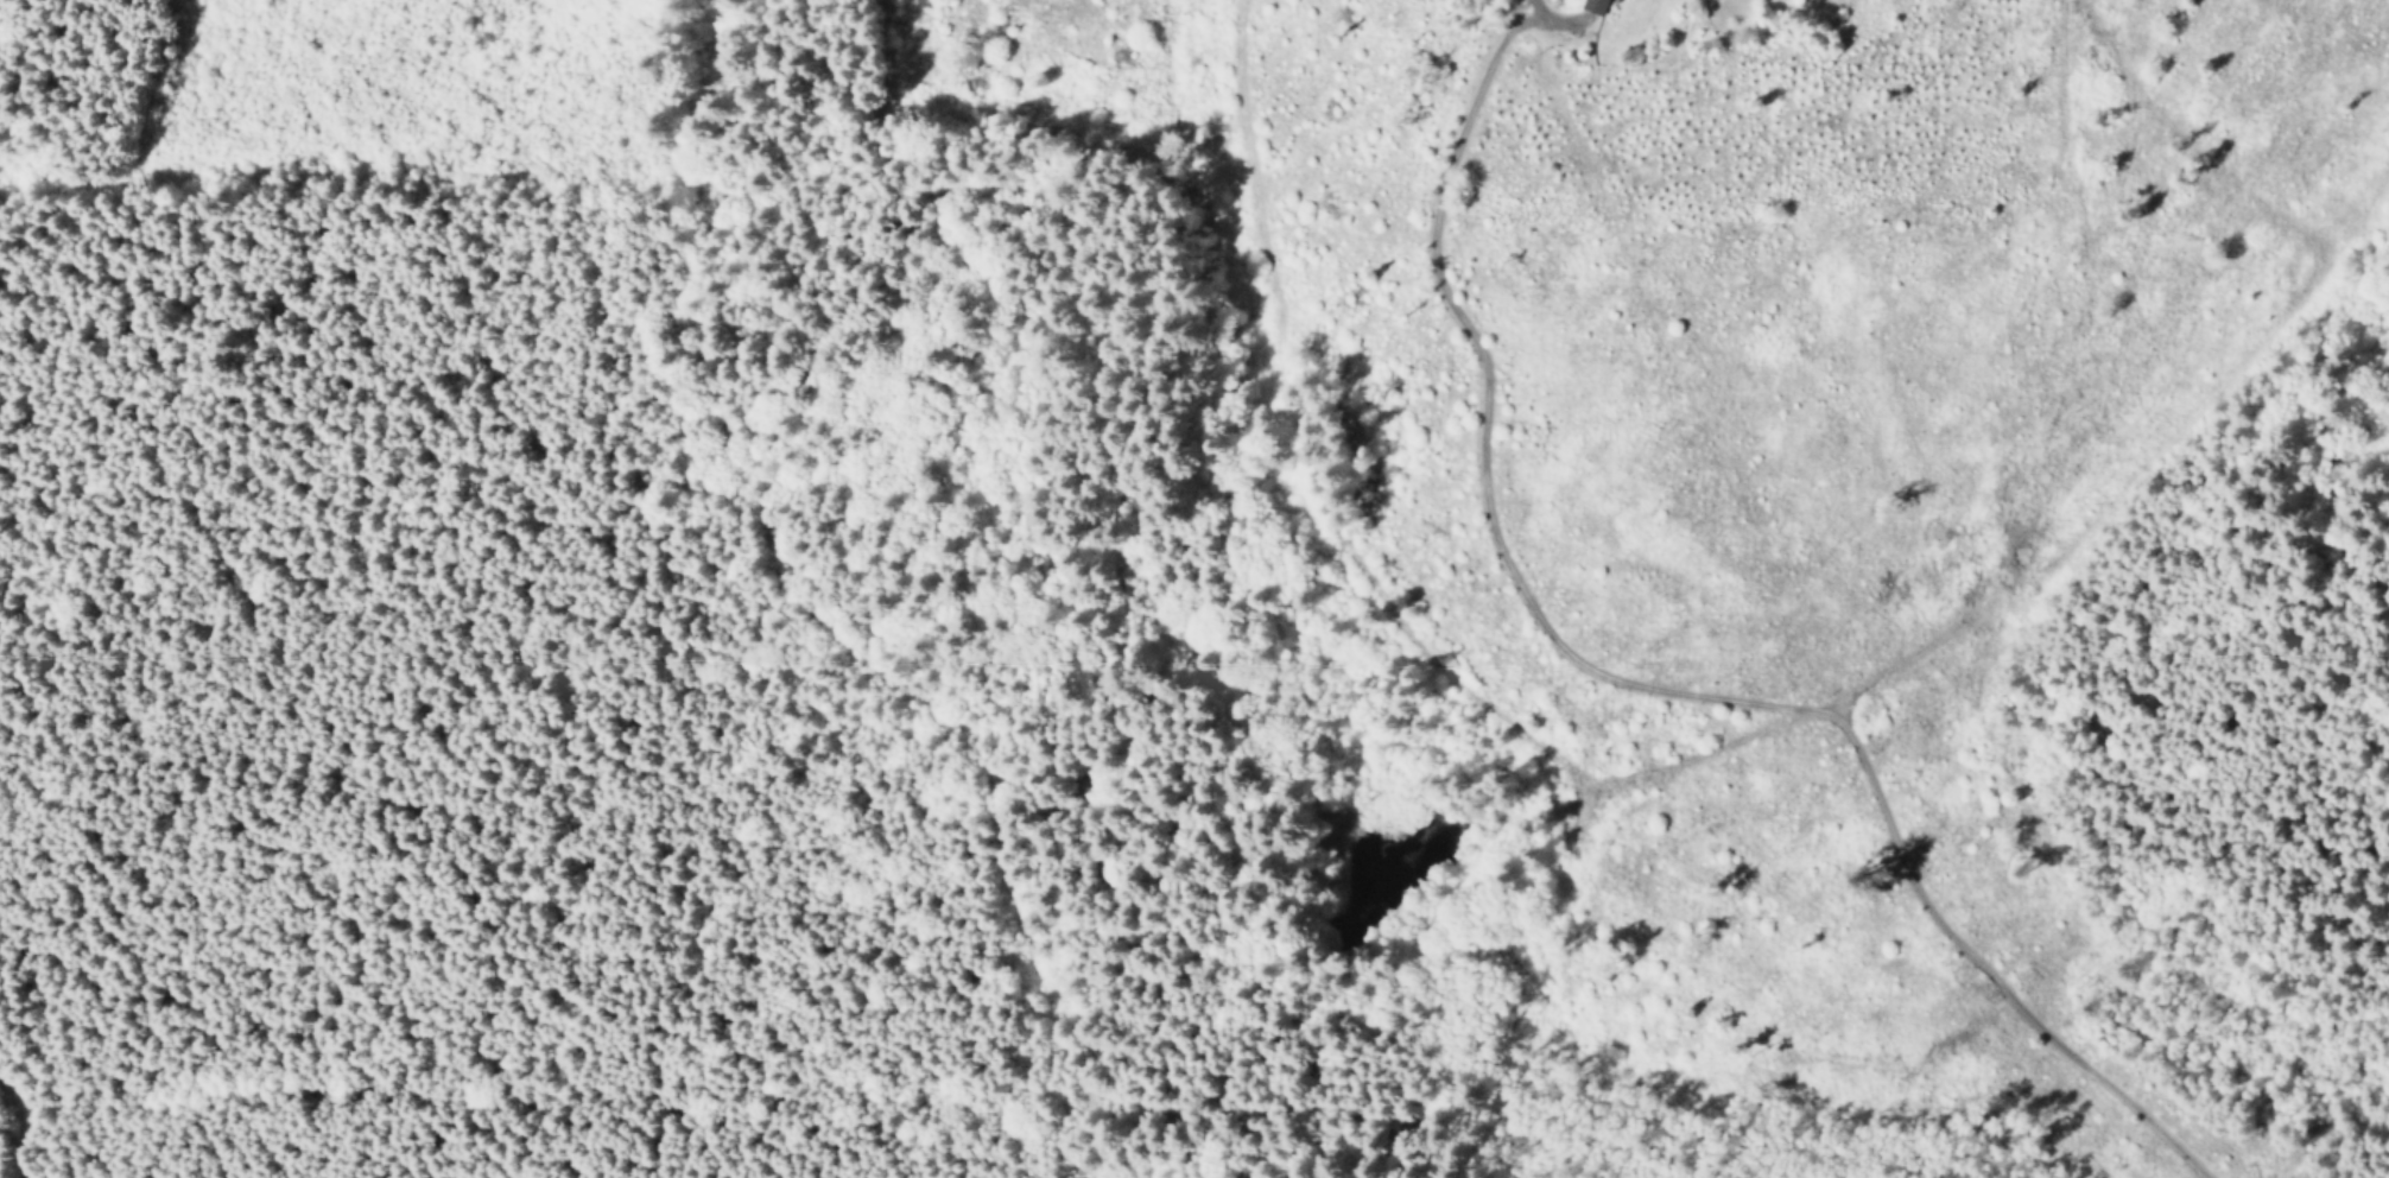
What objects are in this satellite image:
building: (1593, 6)
road: (1711, 635)

